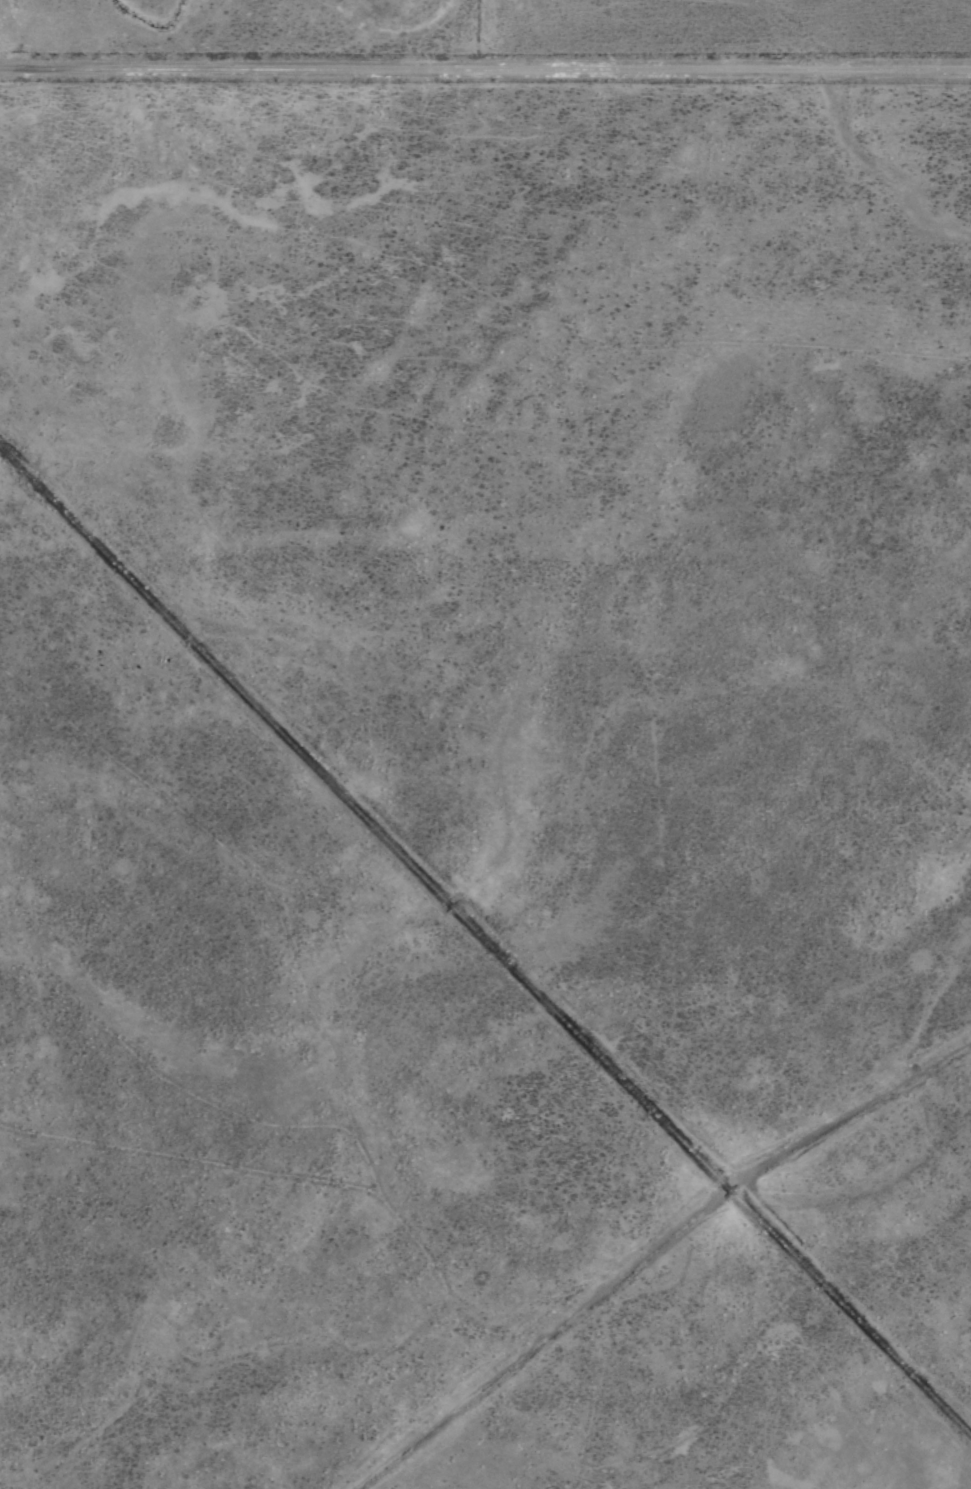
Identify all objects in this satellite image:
road: (485, 66)
crop: (485, 744)
railway: (485, 941)

